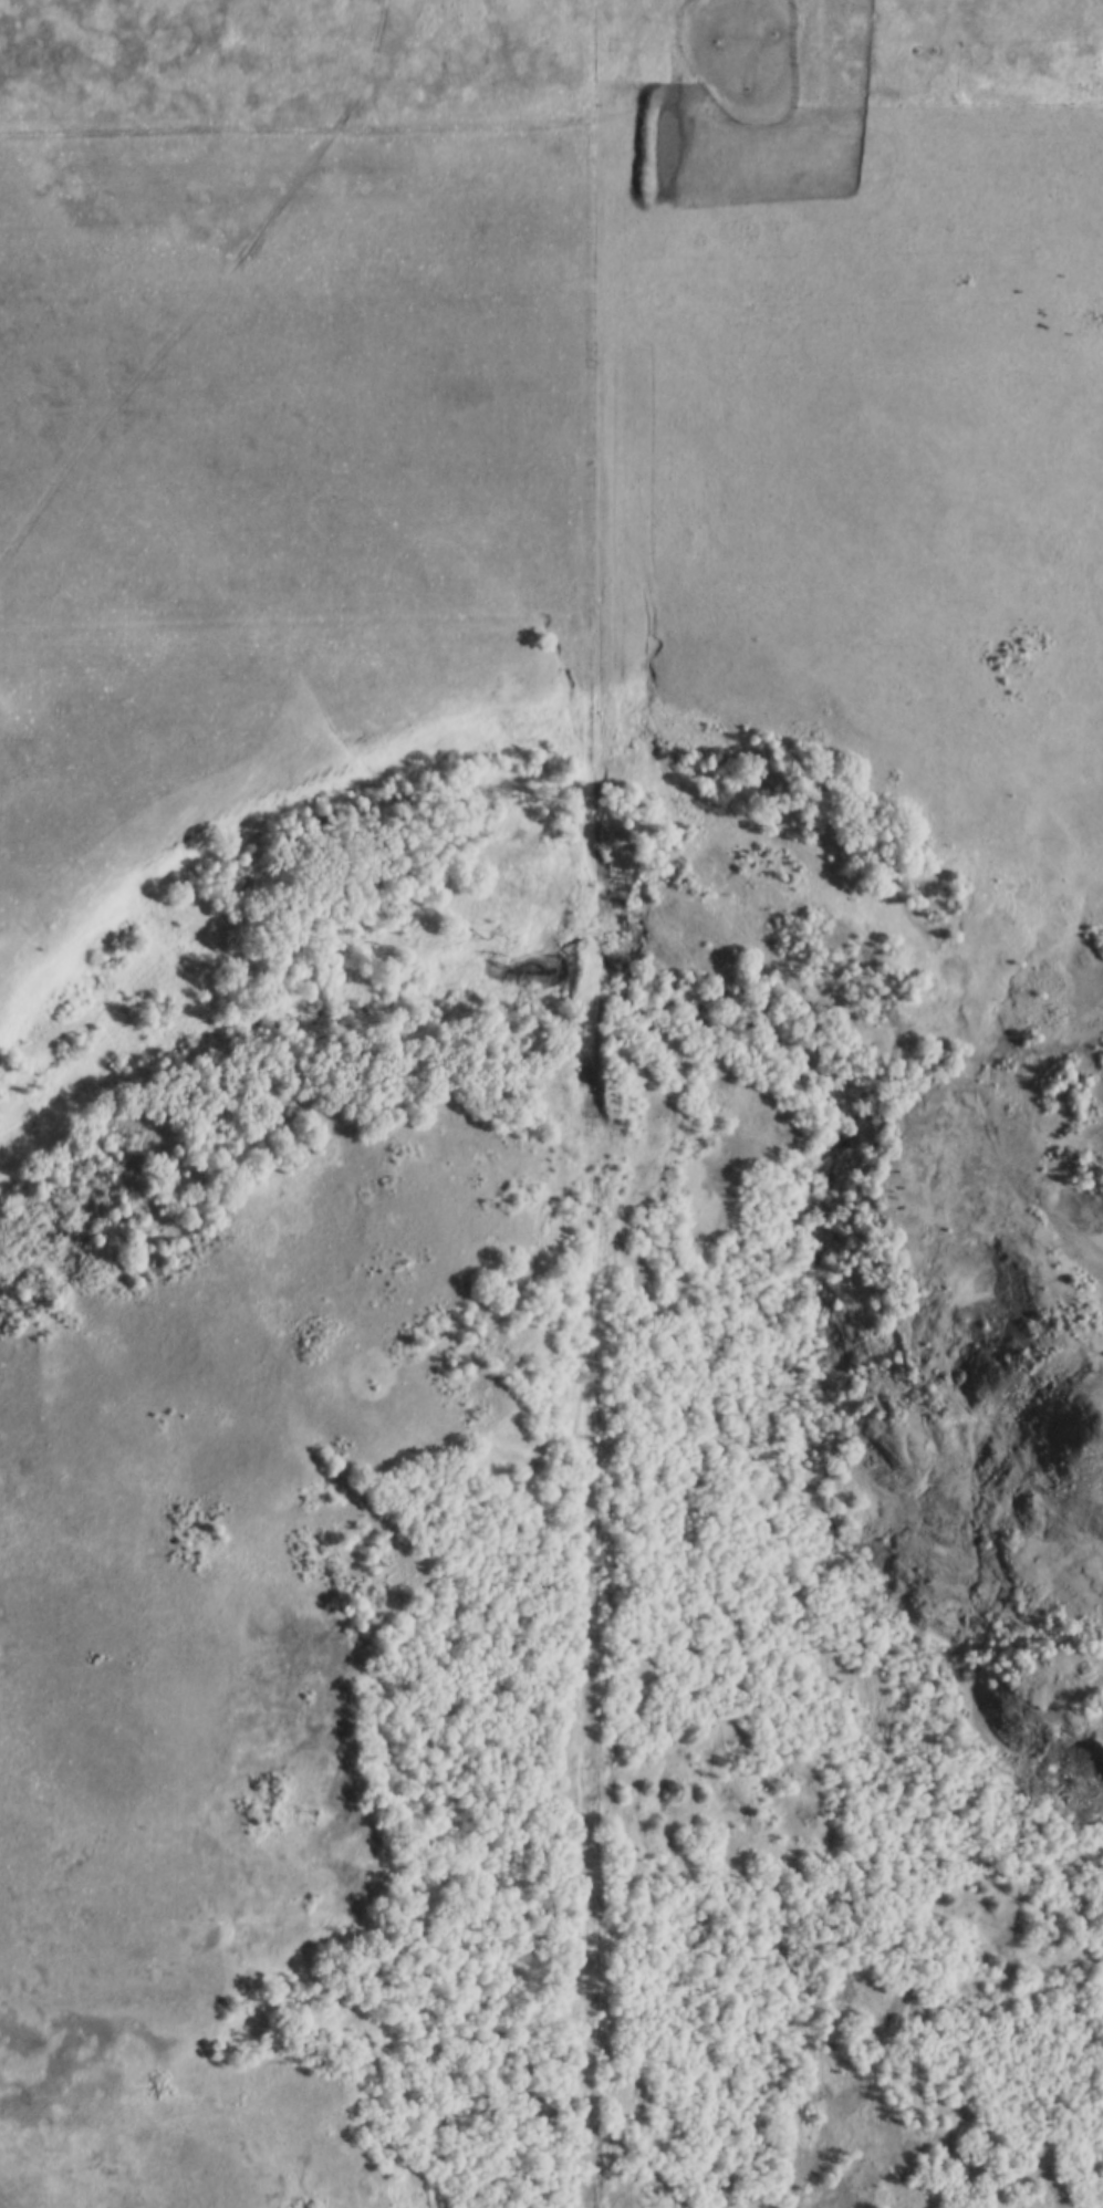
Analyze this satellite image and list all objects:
road: (977, 11)
road: (215, 295)
road: (596, 1095)

